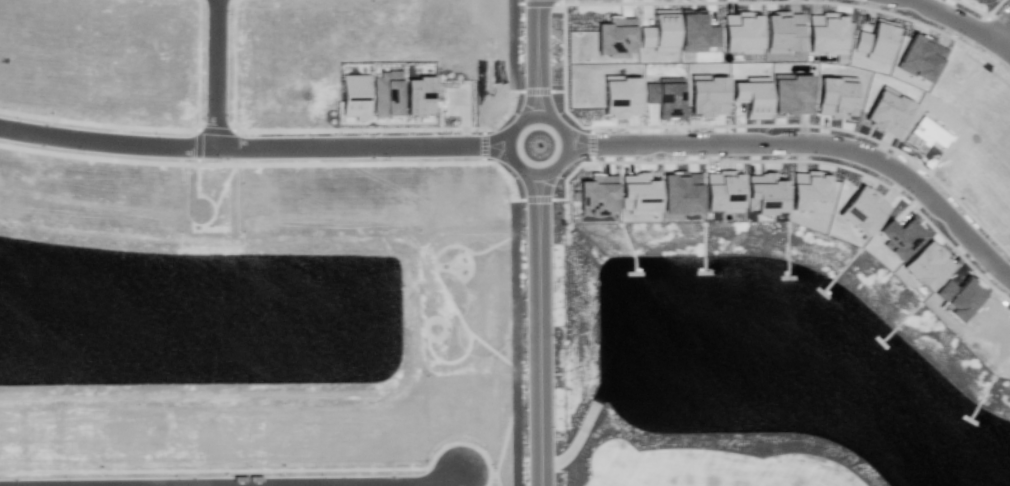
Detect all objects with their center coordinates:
road: (944, 22)
building: (695, 31)
building: (782, 32)
building: (825, 32)
building: (741, 33)
building: (658, 35)
building: (615, 36)
building: (875, 41)
road: (1004, 44)
building: (920, 57)
road: (538, 58)
road: (212, 73)
building: (790, 92)
building: (386, 94)
building: (707, 94)
building: (355, 95)
building: (418, 95)
building: (621, 95)
building: (664, 96)
building: (751, 96)
building: (835, 96)
building: (887, 111)
road: (546, 117)
road: (105, 139)
road: (359, 145)
road: (812, 146)
building: (722, 191)
building: (808, 191)
building: (638, 193)
building: (680, 193)
building: (764, 193)
building: (597, 194)
building: (862, 210)
building: (899, 237)
building: (926, 265)
building: (958, 298)
road: (543, 329)

